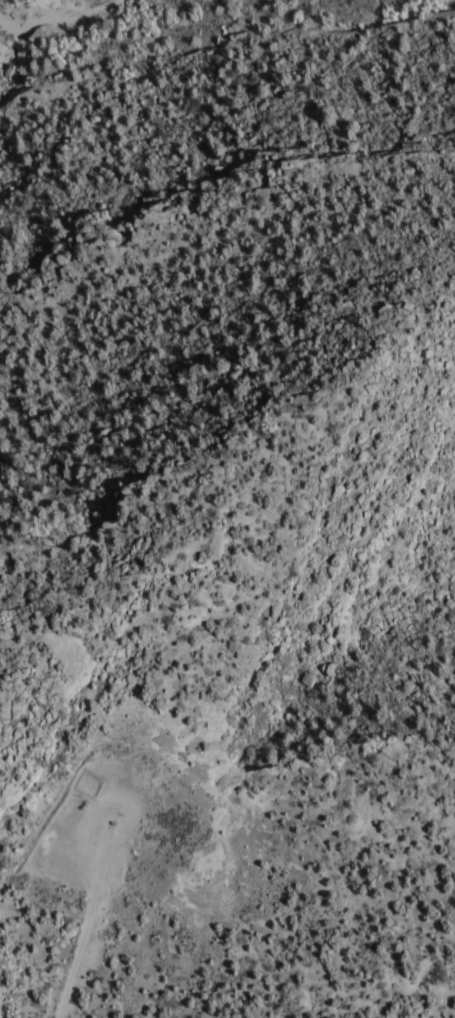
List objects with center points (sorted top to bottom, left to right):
road: (89, 954)

